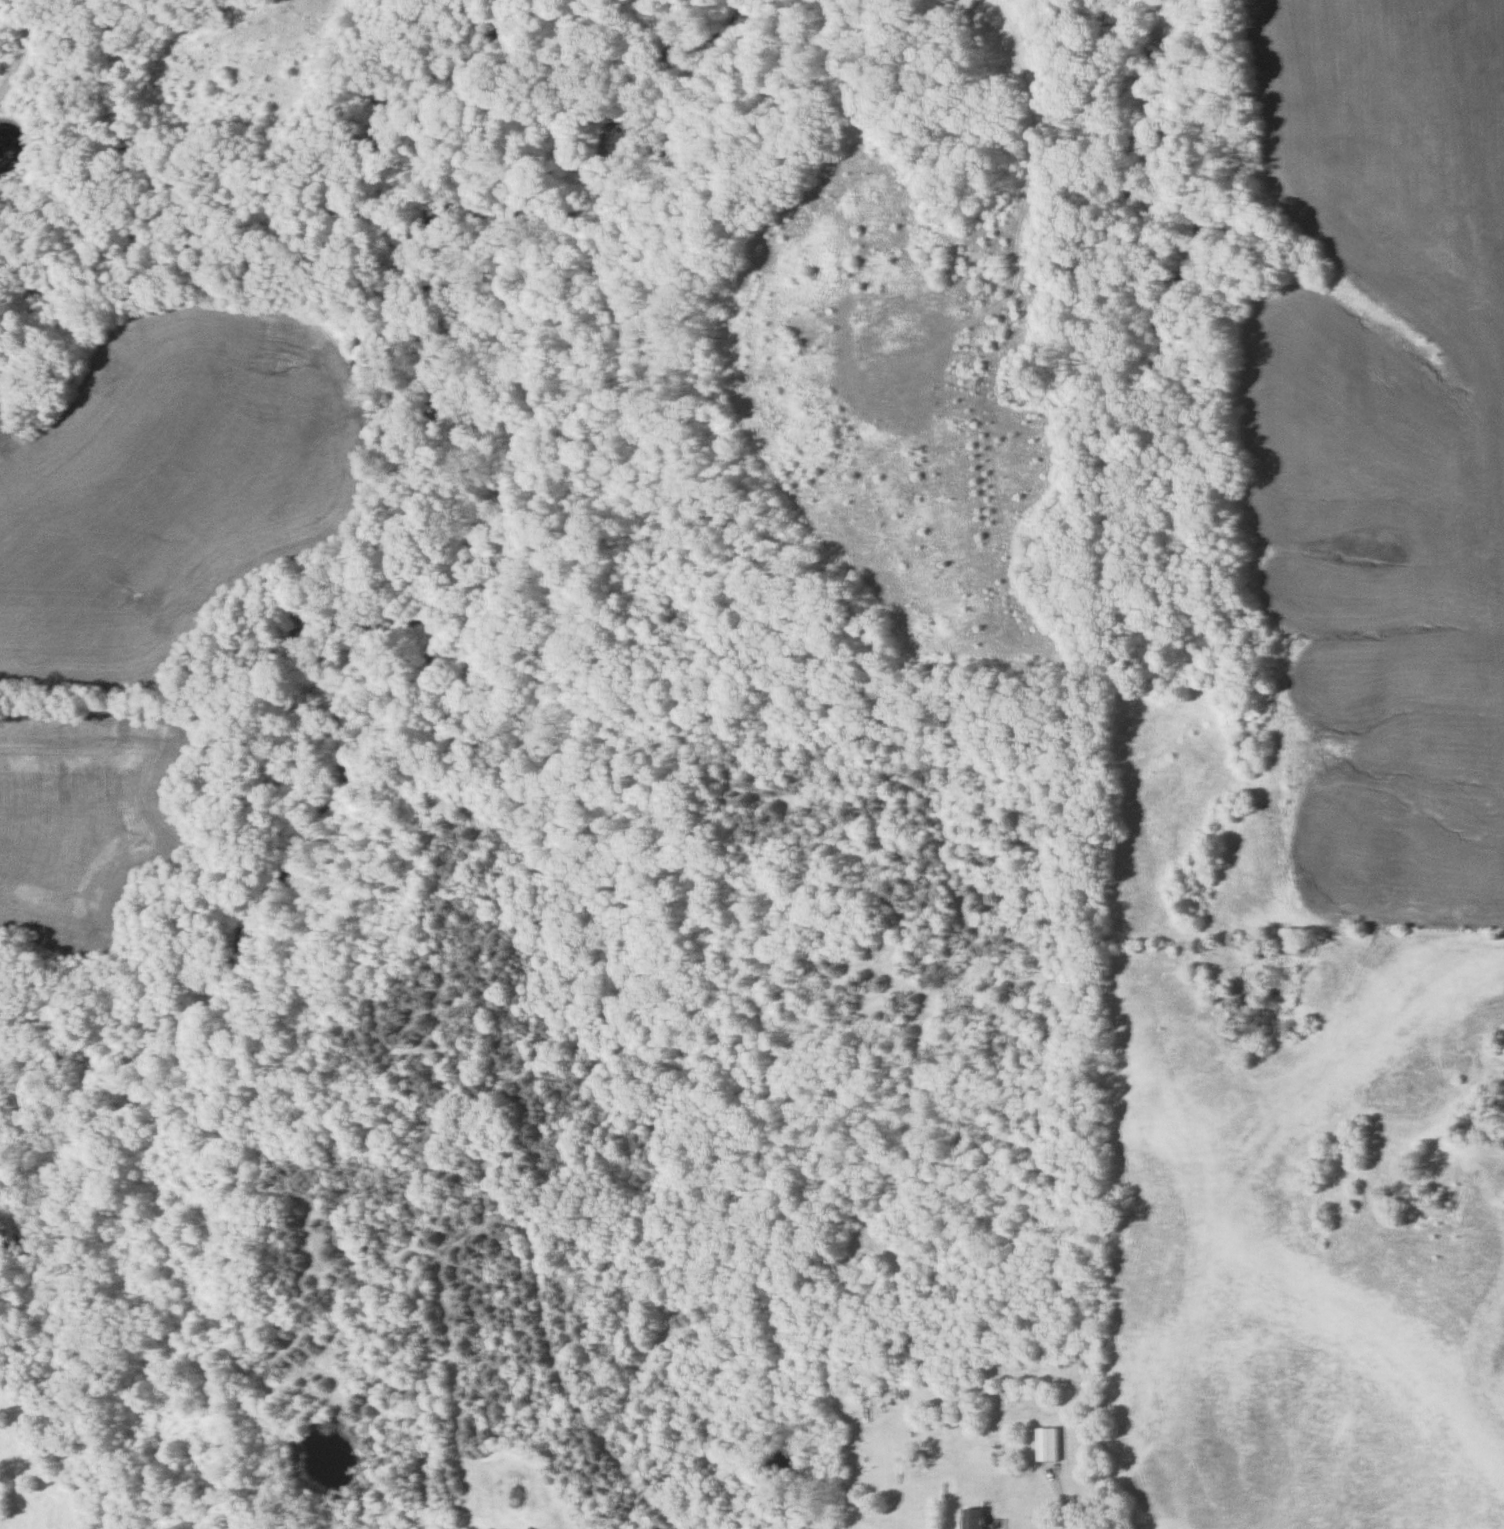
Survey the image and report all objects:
building: (1047, 1444)
building: (973, 1518)

